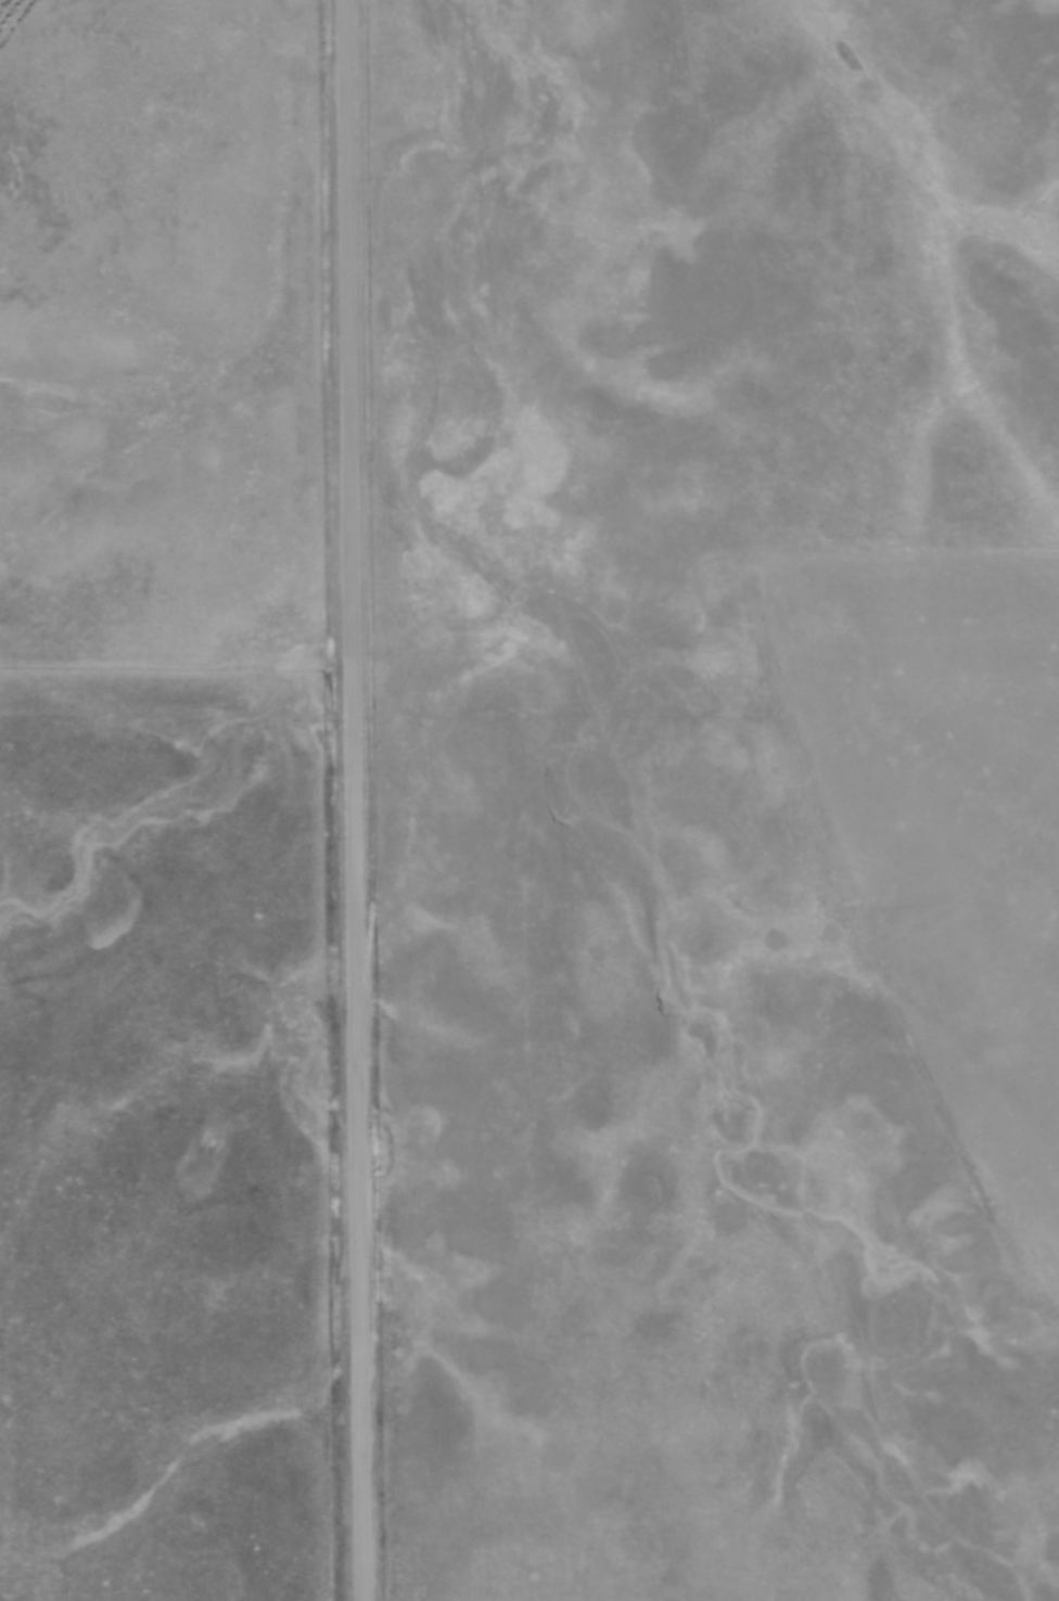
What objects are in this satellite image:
road: (355, 801)
crop: (947, 805)

